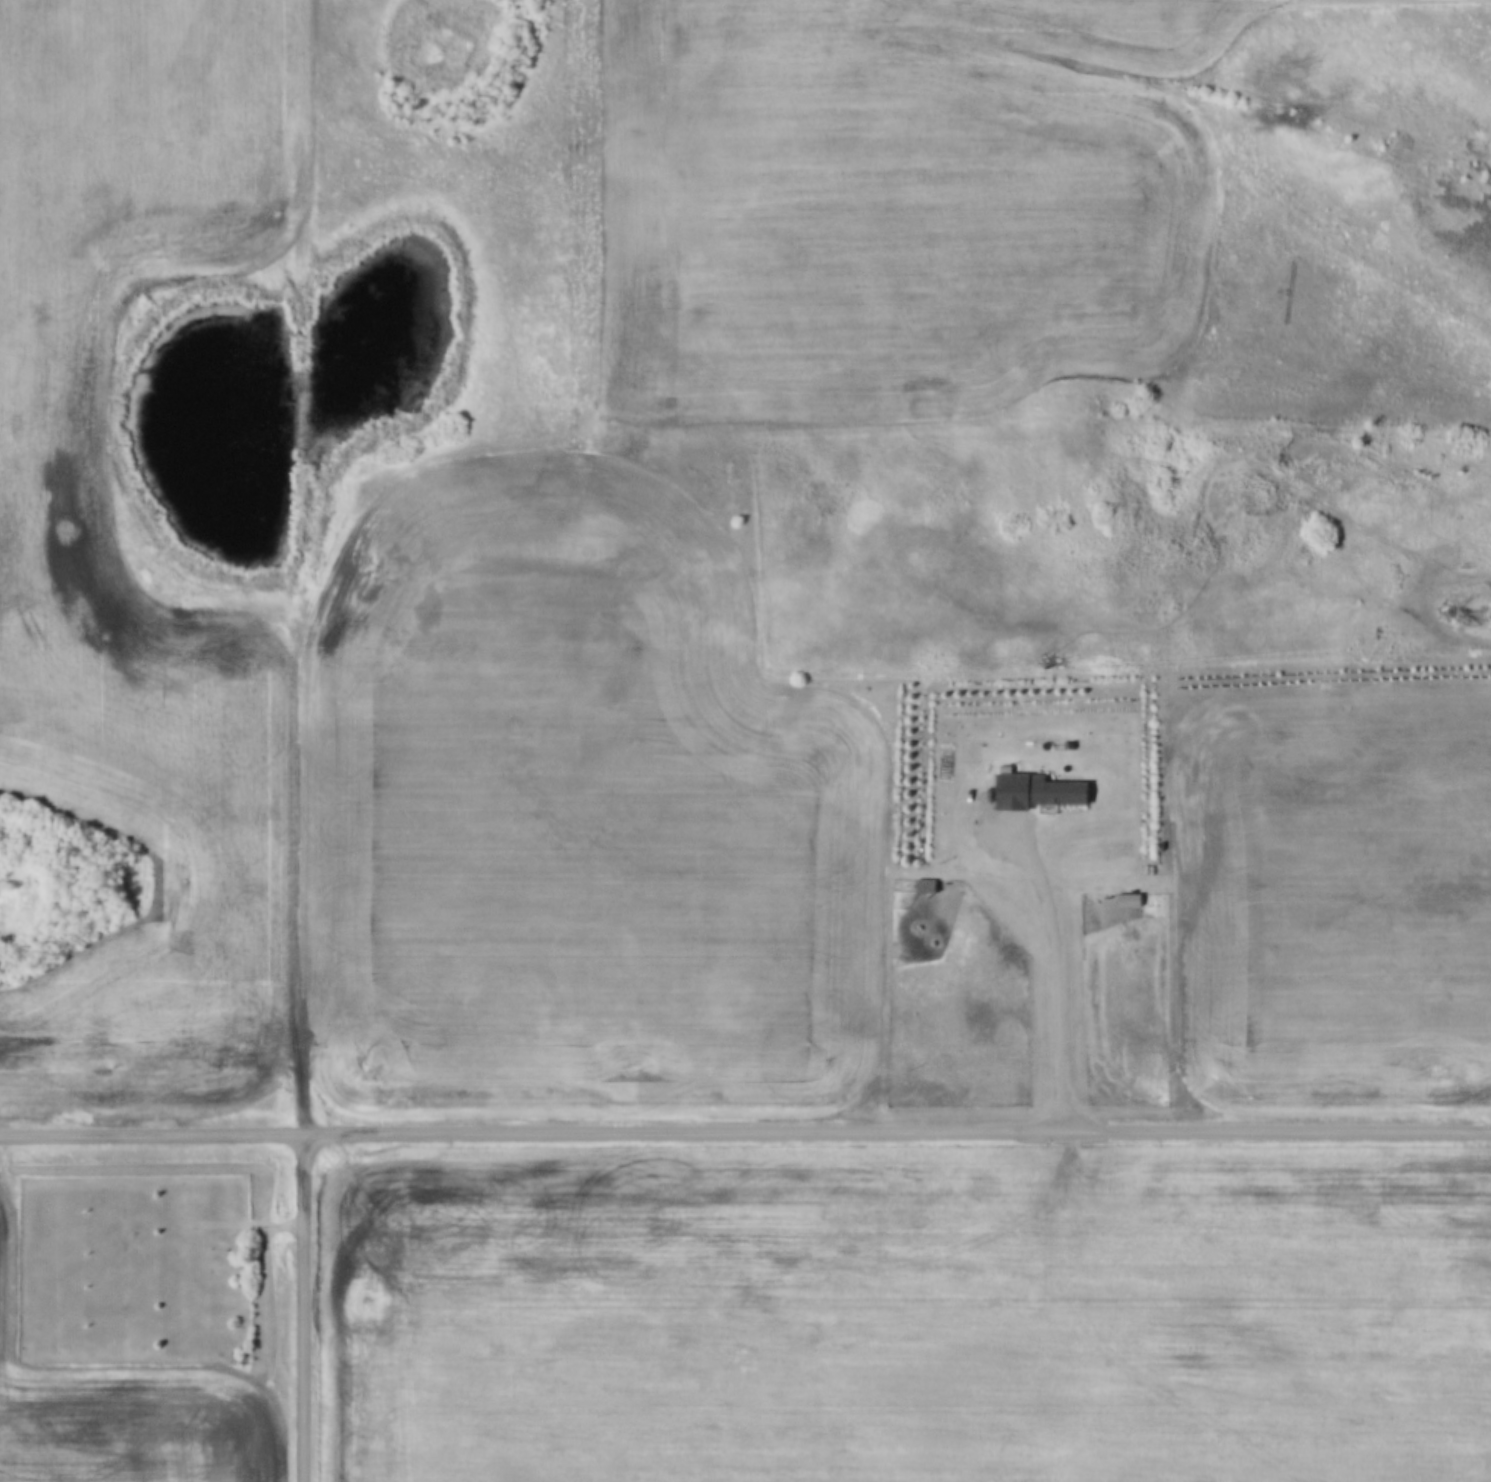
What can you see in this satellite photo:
road: (298, 564)
building: (1041, 791)
road: (745, 1127)
road: (305, 1305)

